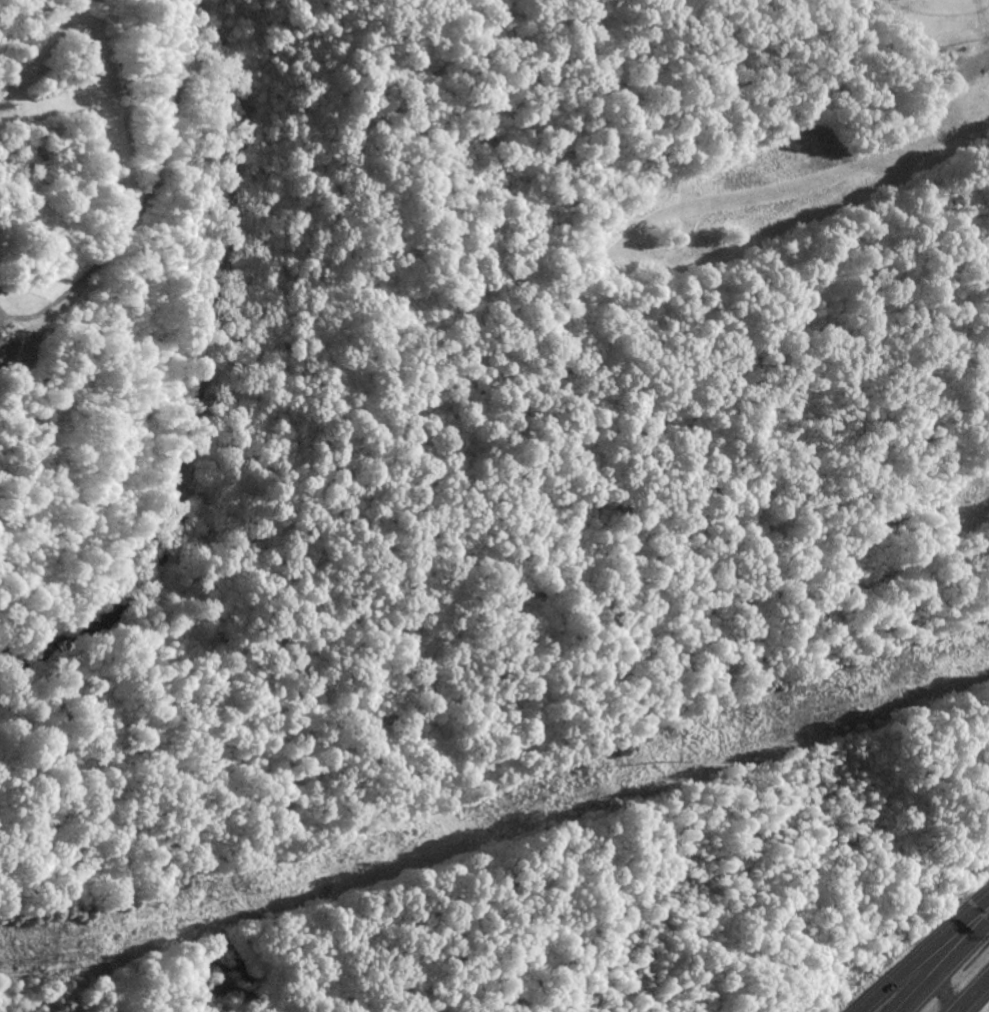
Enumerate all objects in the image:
park: (987, 0)
road: (924, 956)
road: (945, 968)
road: (973, 996)

